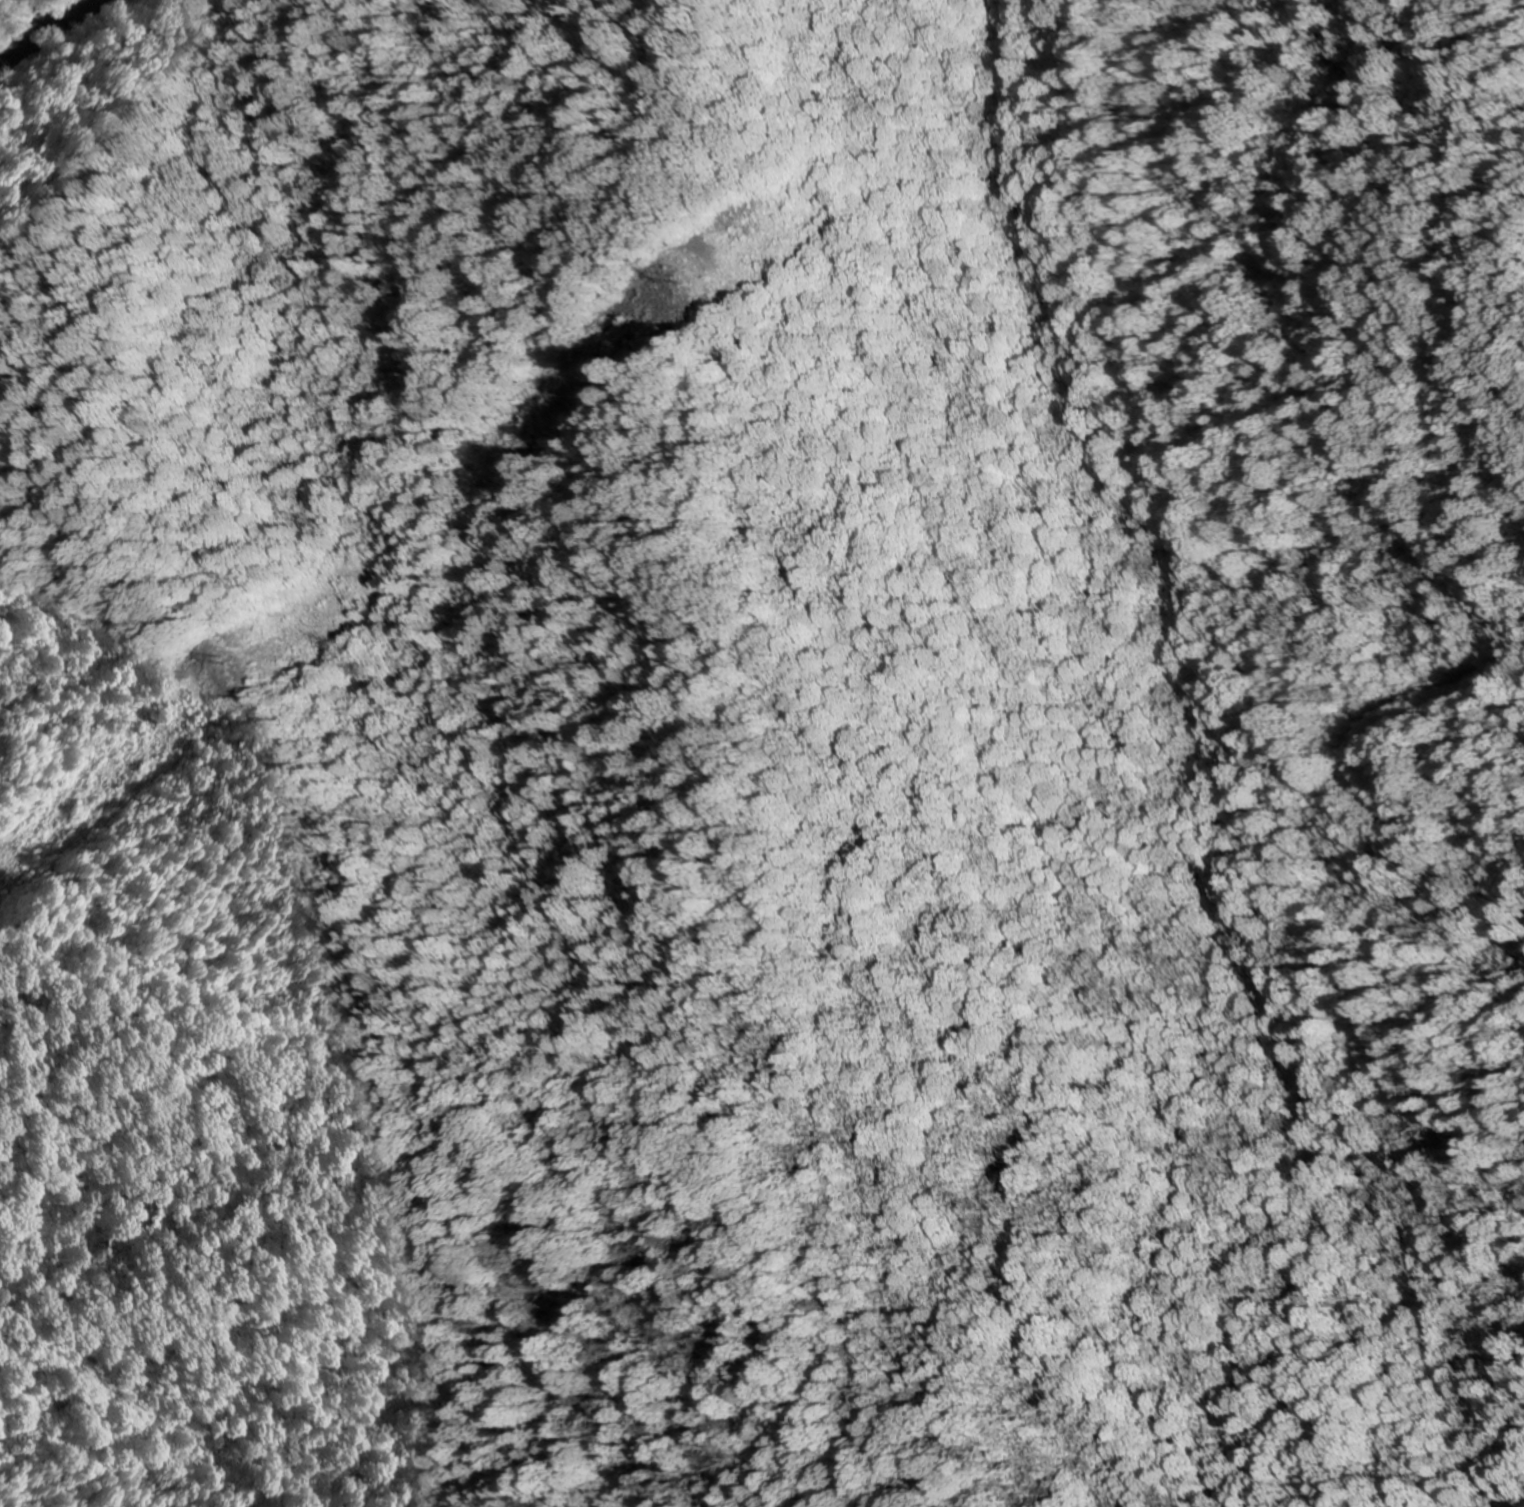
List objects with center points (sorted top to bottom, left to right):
river: (47, 24)
power tower: (674, 279)

